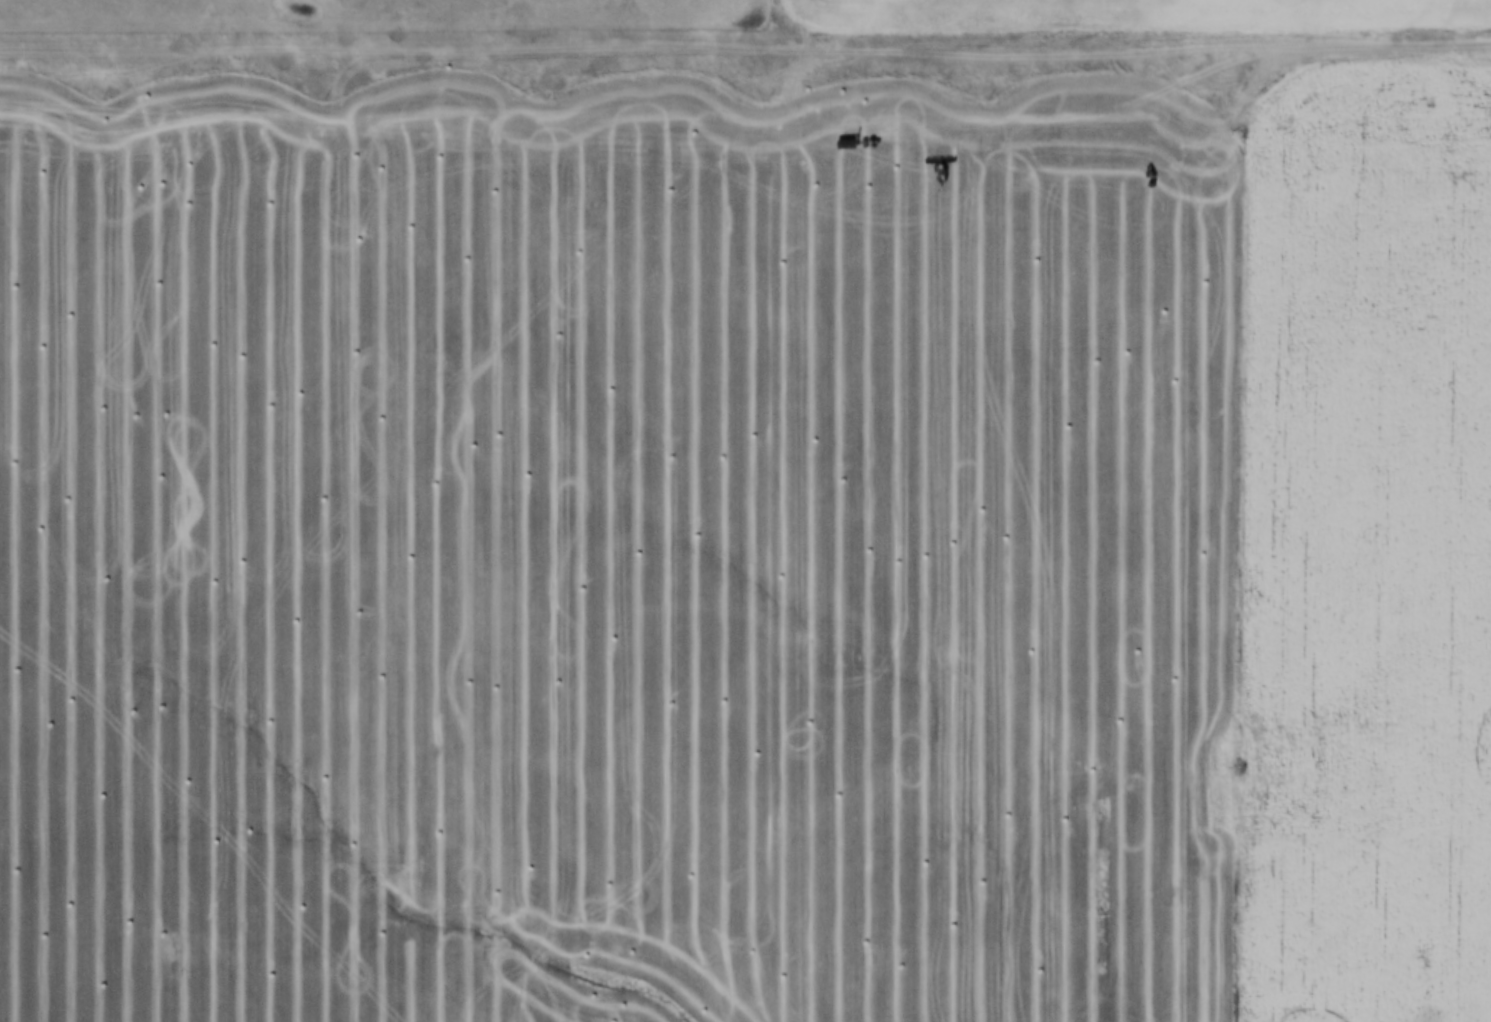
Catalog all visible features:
road: (745, 50)

